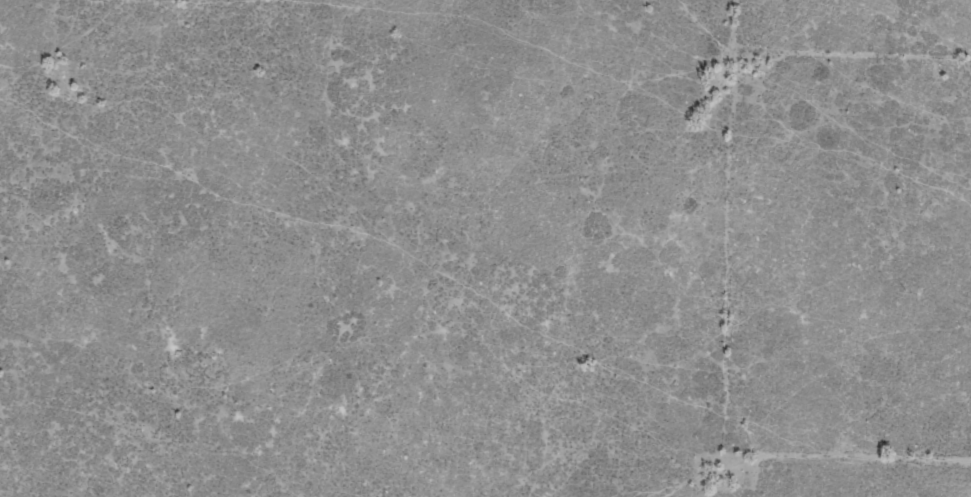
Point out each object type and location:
road: (880, 72)
road: (785, 249)
road: (875, 466)

